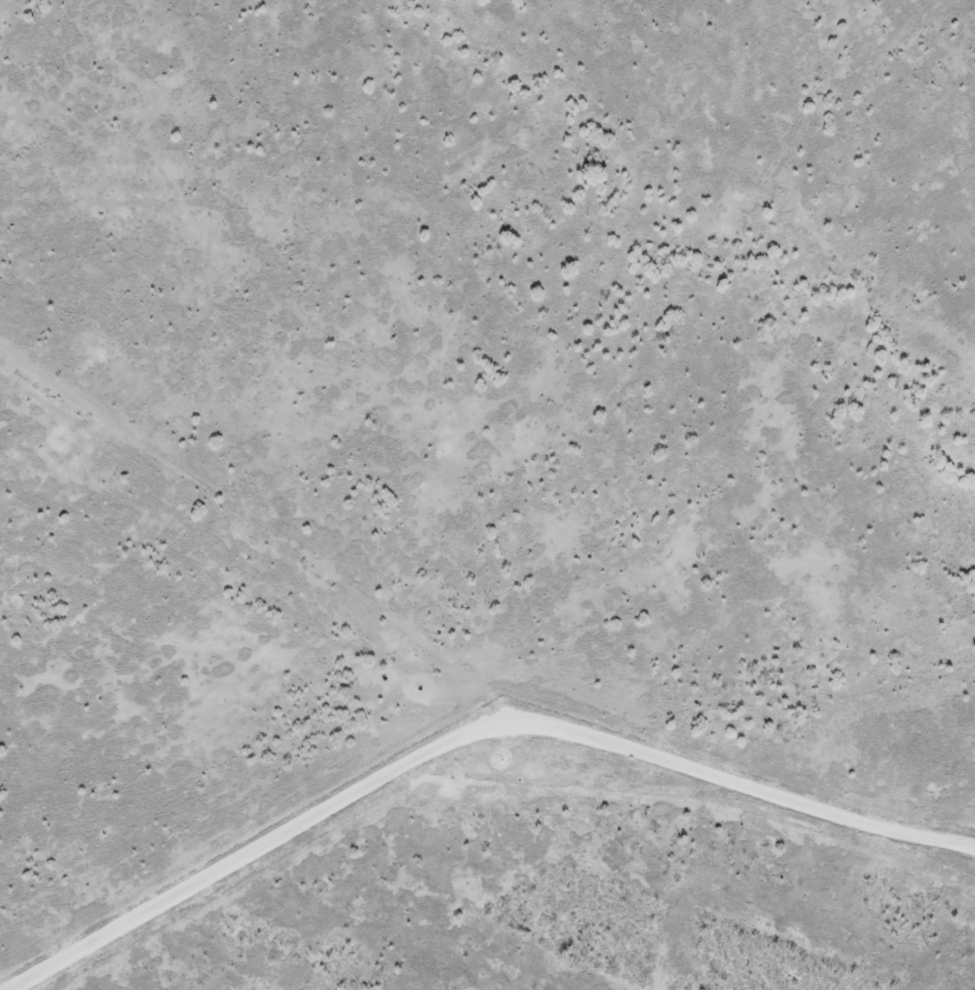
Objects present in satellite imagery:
road: (744, 787)
road: (256, 846)

